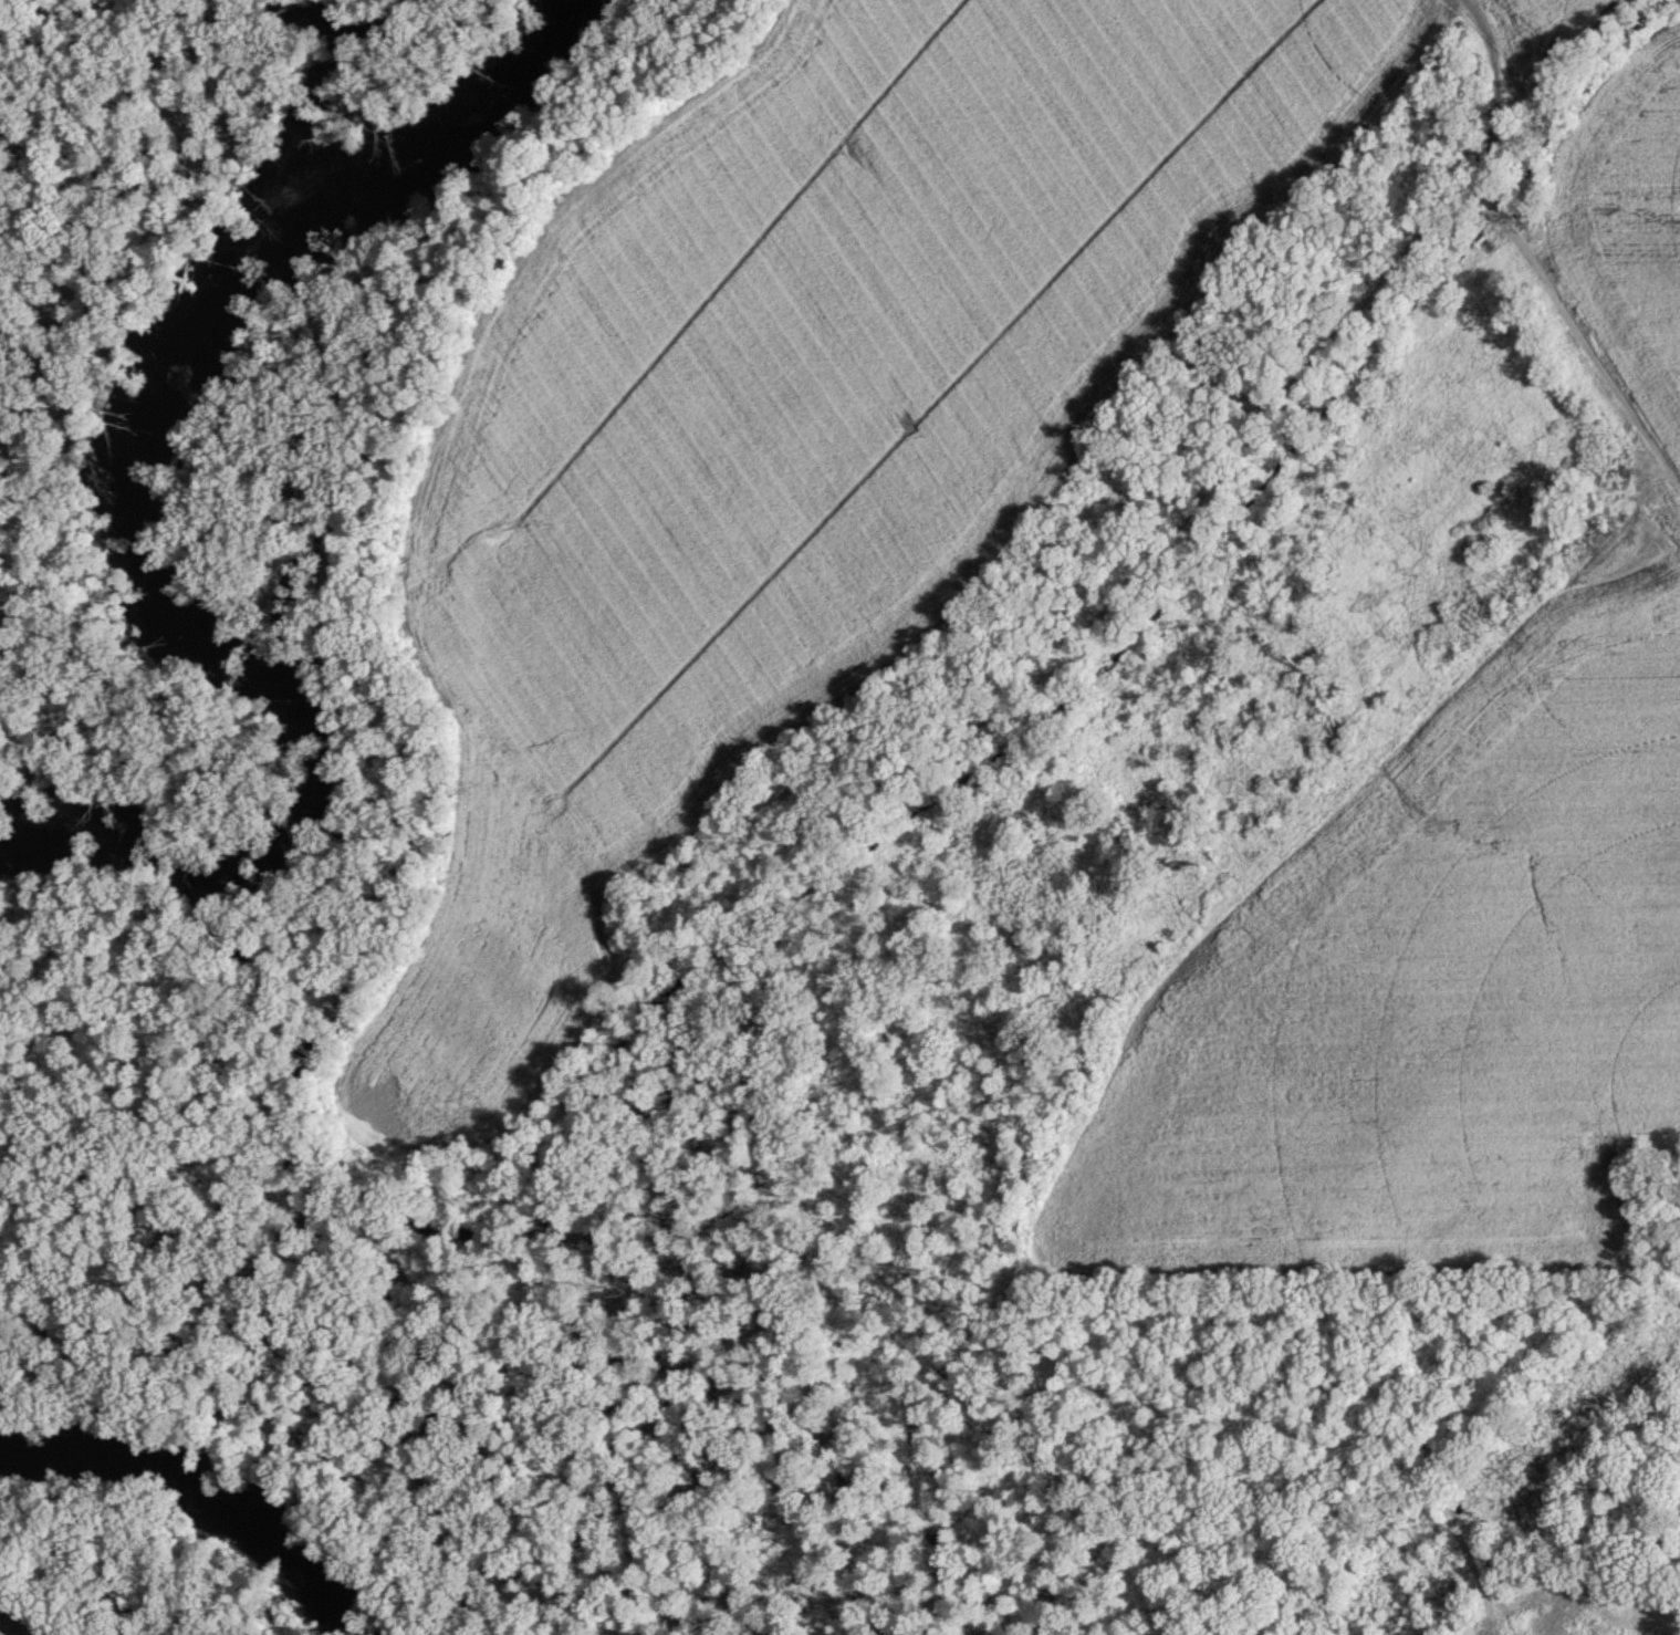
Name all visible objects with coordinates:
river: (136, 527)
river: (198, 1496)

